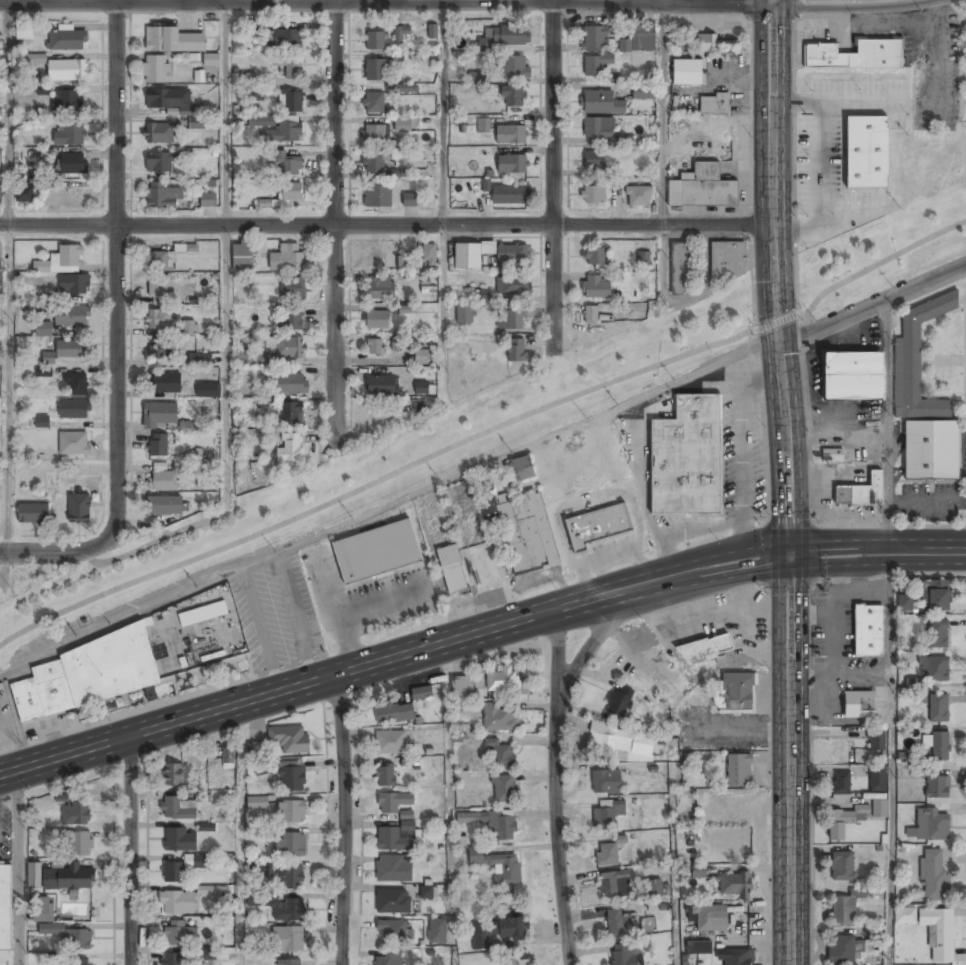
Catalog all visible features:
road: (385, 0)
building: (24, 31)
building: (431, 31)
building: (400, 33)
building: (511, 35)
building: (595, 38)
building: (67, 39)
building: (287, 39)
building: (640, 39)
building: (172, 40)
building: (376, 40)
building: (713, 43)
building: (855, 55)
building: (34, 58)
building: (211, 59)
building: (595, 65)
building: (289, 66)
building: (514, 67)
building: (155, 69)
building: (67, 70)
building: (376, 70)
building: (687, 72)
building: (475, 77)
building: (406, 89)
building: (41, 90)
building: (643, 93)
building: (255, 95)
building: (513, 96)
building: (157, 98)
building: (65, 101)
building: (291, 101)
building: (373, 102)
building: (601, 102)
building: (715, 104)
building: (0, 110)
building: (196, 122)
building: (403, 125)
building: (483, 126)
building: (598, 127)
building: (278, 130)
building: (158, 133)
building: (375, 134)
building: (68, 135)
building: (511, 135)
building: (623, 142)
road: (663, 153)
building: (863, 153)
building: (595, 160)
building: (159, 162)
building: (372, 162)
building: (72, 164)
building: (287, 164)
building: (513, 164)
building: (397, 173)
road: (553, 177)
building: (702, 188)
building: (26, 191)
building: (511, 194)
building: (593, 194)
building: (161, 195)
building: (284, 195)
building: (378, 195)
building: (638, 197)
building: (410, 199)
road: (444, 199)
building: (208, 200)
road: (335, 221)
road: (387, 226)
road: (226, 238)
park: (890, 238)
building: (188, 248)
building: (1, 250)
building: (513, 252)
building: (428, 255)
building: (242, 256)
building: (468, 256)
building: (595, 256)
road: (114, 257)
building: (288, 259)
building: (644, 259)
building: (62, 260)
building: (161, 260)
building: (401, 261)
building: (727, 261)
building: (680, 268)
road: (6, 276)
road: (776, 276)
building: (73, 284)
building: (513, 286)
building: (596, 287)
building: (158, 288)
building: (380, 288)
building: (292, 289)
building: (428, 290)
building: (482, 296)
road: (872, 312)
building: (590, 314)
building: (70, 316)
building: (465, 316)
building: (157, 319)
building: (512, 319)
building: (377, 320)
building: (291, 321)
building: (190, 328)
building: (42, 329)
building: (0, 343)
building: (395, 343)
building: (284, 347)
building: (374, 347)
building: (69, 349)
building: (159, 350)
building: (517, 351)
building: (47, 356)
building: (421, 357)
building: (250, 358)
building: (195, 360)
building: (917, 361)
building: (43, 372)
building: (852, 376)
building: (164, 382)
building: (75, 384)
building: (291, 384)
building: (381, 386)
building: (422, 388)
building: (206, 389)
building: (74, 408)
building: (159, 413)
building: (291, 414)
building: (41, 421)
road: (483, 432)
building: (74, 442)
building: (158, 445)
building: (290, 448)
building: (931, 451)
building: (831, 456)
building: (687, 458)
park: (399, 461)
building: (522, 468)
building: (201, 477)
building: (163, 481)
building: (862, 493)
building: (160, 505)
building: (78, 509)
building: (33, 512)
building: (599, 526)
building: (523, 528)
road: (876, 551)
road: (66, 552)
building: (376, 552)
road: (778, 553)
traffic signals: (788, 553)
building: (451, 569)
building: (935, 596)
building: (904, 602)
building: (198, 610)
building: (868, 631)
building: (938, 635)
building: (703, 648)
road: (384, 660)
building: (935, 668)
building: (94, 673)
building: (503, 681)
building: (911, 682)
building: (462, 687)
building: (738, 692)
building: (422, 693)
building: (620, 701)
building: (858, 704)
building: (938, 708)
building: (392, 712)
building: (499, 717)
building: (633, 723)
building: (290, 739)
building: (876, 739)
building: (390, 742)
building: (622, 742)
building: (939, 745)
building: (256, 747)
building: (502, 753)
building: (228, 755)
road: (889, 758)
road: (788, 759)
building: (739, 770)
building: (172, 775)
building: (289, 775)
building: (385, 776)
building: (876, 778)
building: (606, 781)
building: (841, 783)
road: (554, 787)
building: (937, 787)
building: (504, 790)
building: (393, 802)
building: (256, 803)
building: (180, 809)
building: (879, 809)
building: (291, 812)
building: (75, 813)
building: (607, 813)
road: (339, 820)
building: (492, 823)
building: (841, 823)
building: (929, 826)
building: (393, 838)
building: (180, 840)
building: (80, 844)
building: (290, 844)
road: (128, 850)
building: (609, 852)
building: (498, 866)
building: (843, 866)
road: (16, 867)
building: (182, 867)
building: (265, 868)
building: (394, 868)
building: (698, 871)
building: (34, 875)
building: (933, 875)
building: (291, 877)
building: (65, 878)
building: (615, 885)
building: (734, 885)
building: (654, 888)
building: (214, 891)
building: (428, 892)
building: (393, 900)
building: (177, 902)
building: (5, 905)
building: (42, 909)
building: (287, 910)
building: (843, 910)
building: (904, 915)
building: (710, 918)
building: (619, 923)
building: (393, 928)
building: (51, 929)
building: (437, 931)
building: (496, 932)
building: (179, 933)
building: (939, 933)
building: (79, 939)
building: (288, 939)
building: (698, 947)
building: (841, 950)
building: (624, 954)
building: (202, 955)
building: (739, 957)
building: (390, 958)
building: (170, 959)
building: (515, 960)
building: (79, 962)
building: (290, 962)

